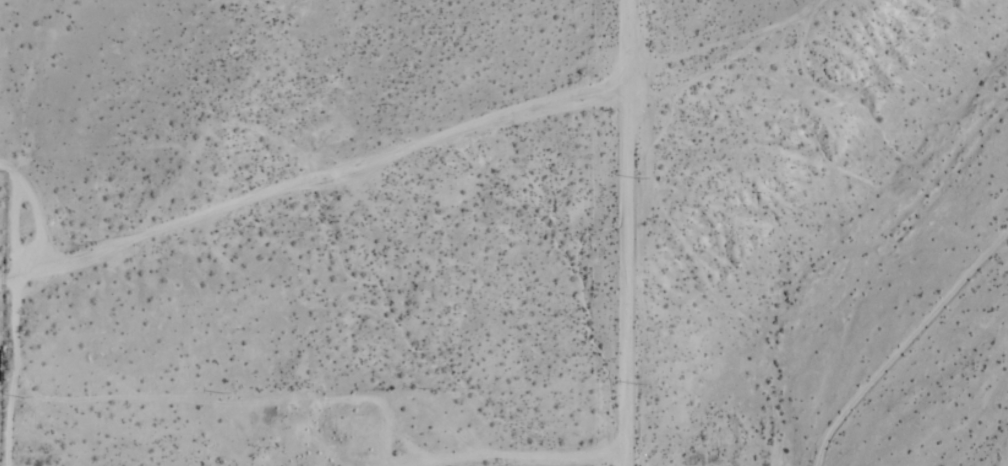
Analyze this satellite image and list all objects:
road: (230, 205)
road: (631, 232)

